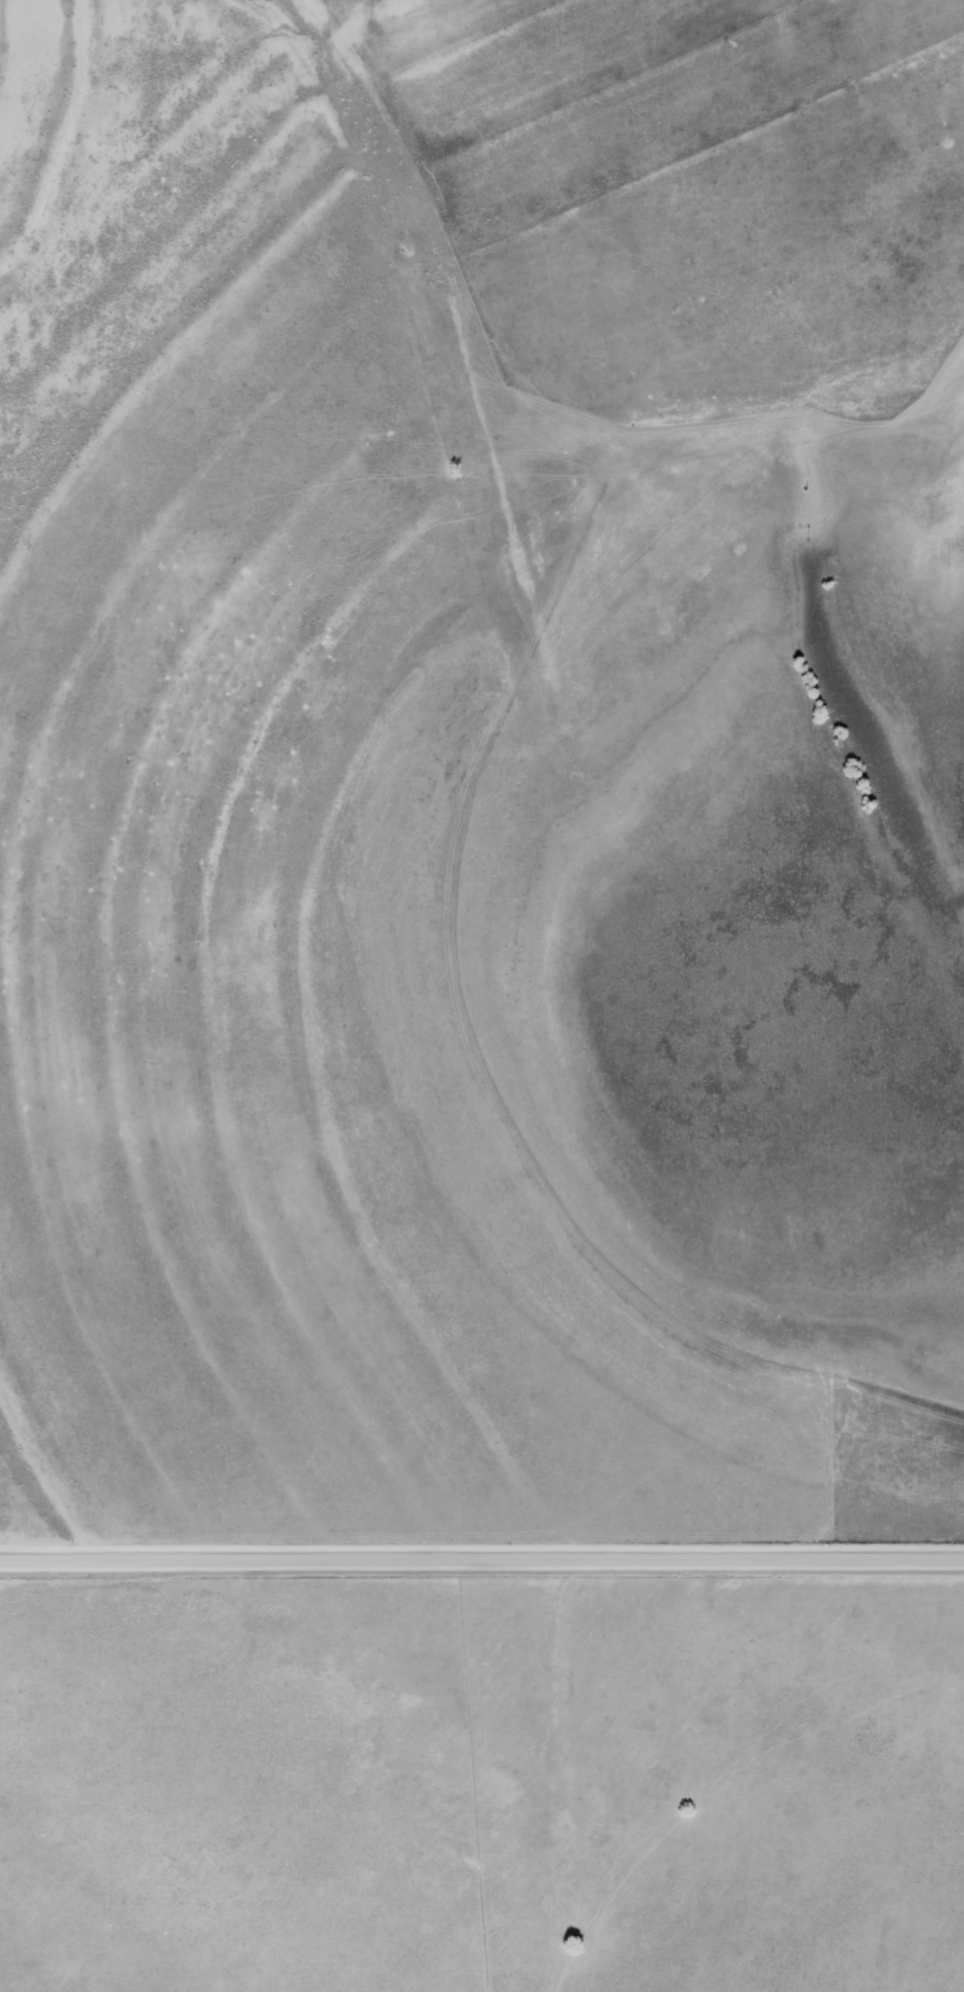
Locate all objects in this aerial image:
road: (482, 1567)

